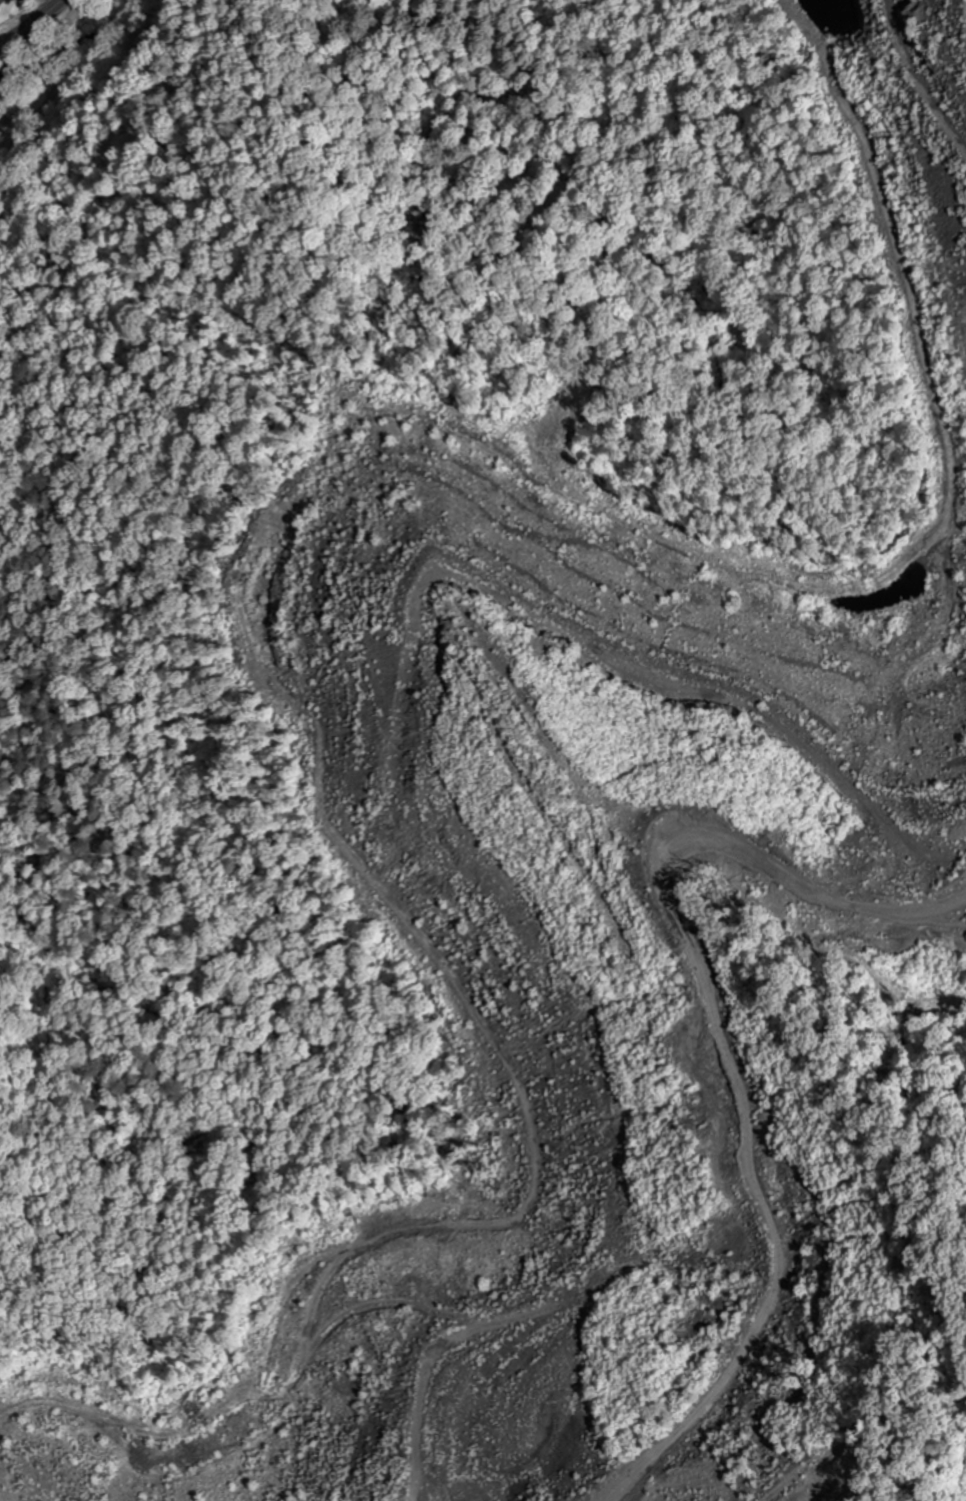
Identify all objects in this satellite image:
building: (3, 3)
road: (31, 22)

